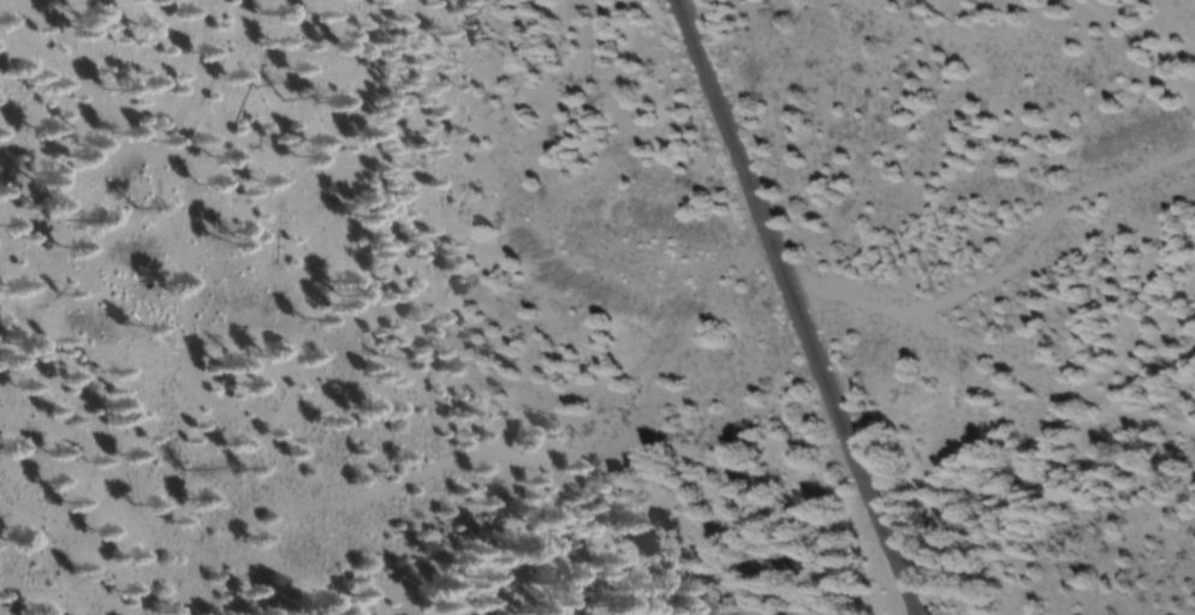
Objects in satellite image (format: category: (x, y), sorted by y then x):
road: (1006, 267)
road: (798, 307)

